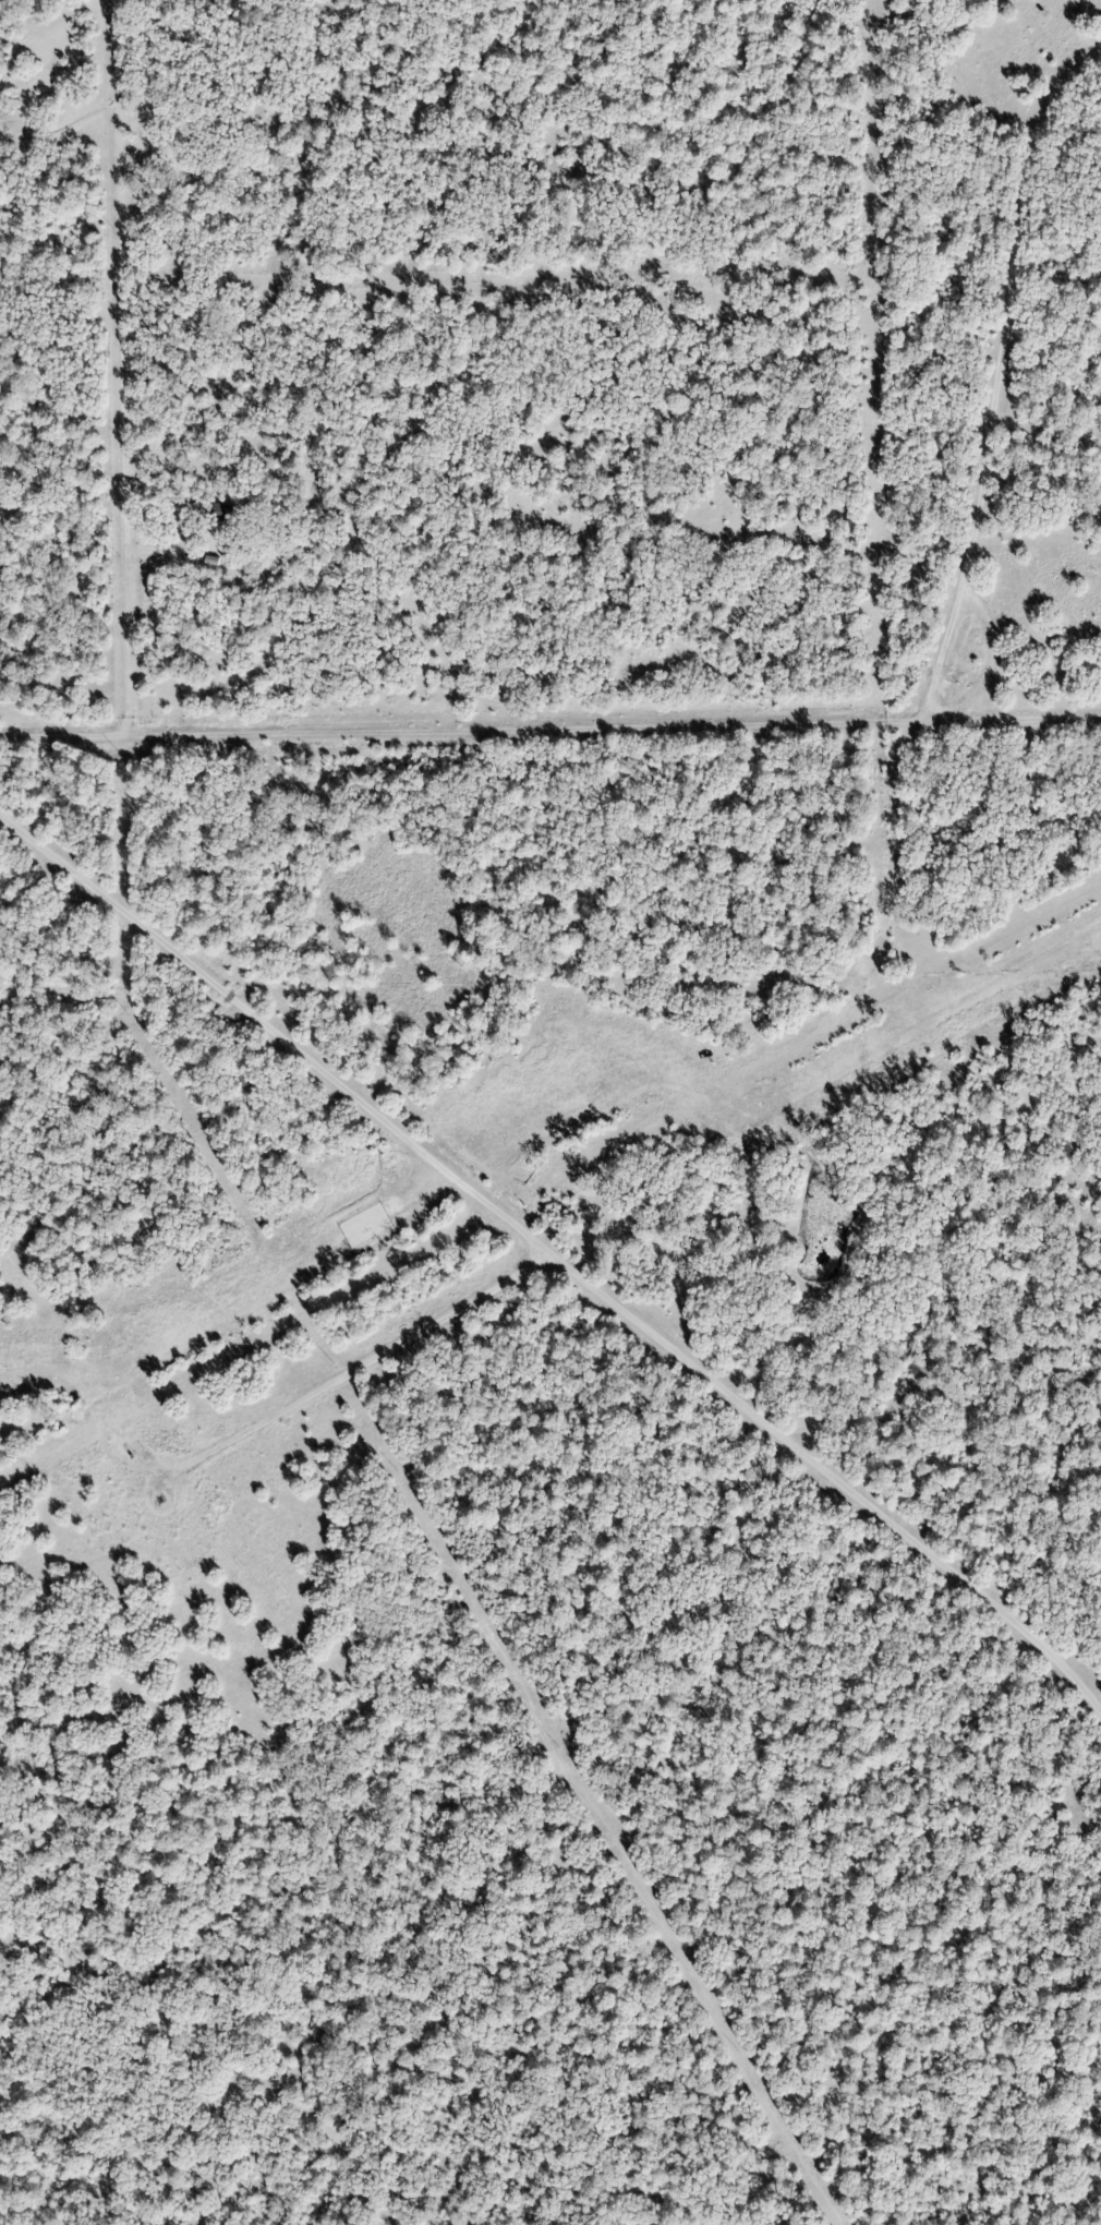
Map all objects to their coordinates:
road: (995, 375)
building: (219, 512)
road: (550, 729)
road: (276, 1037)
road: (664, 1342)

